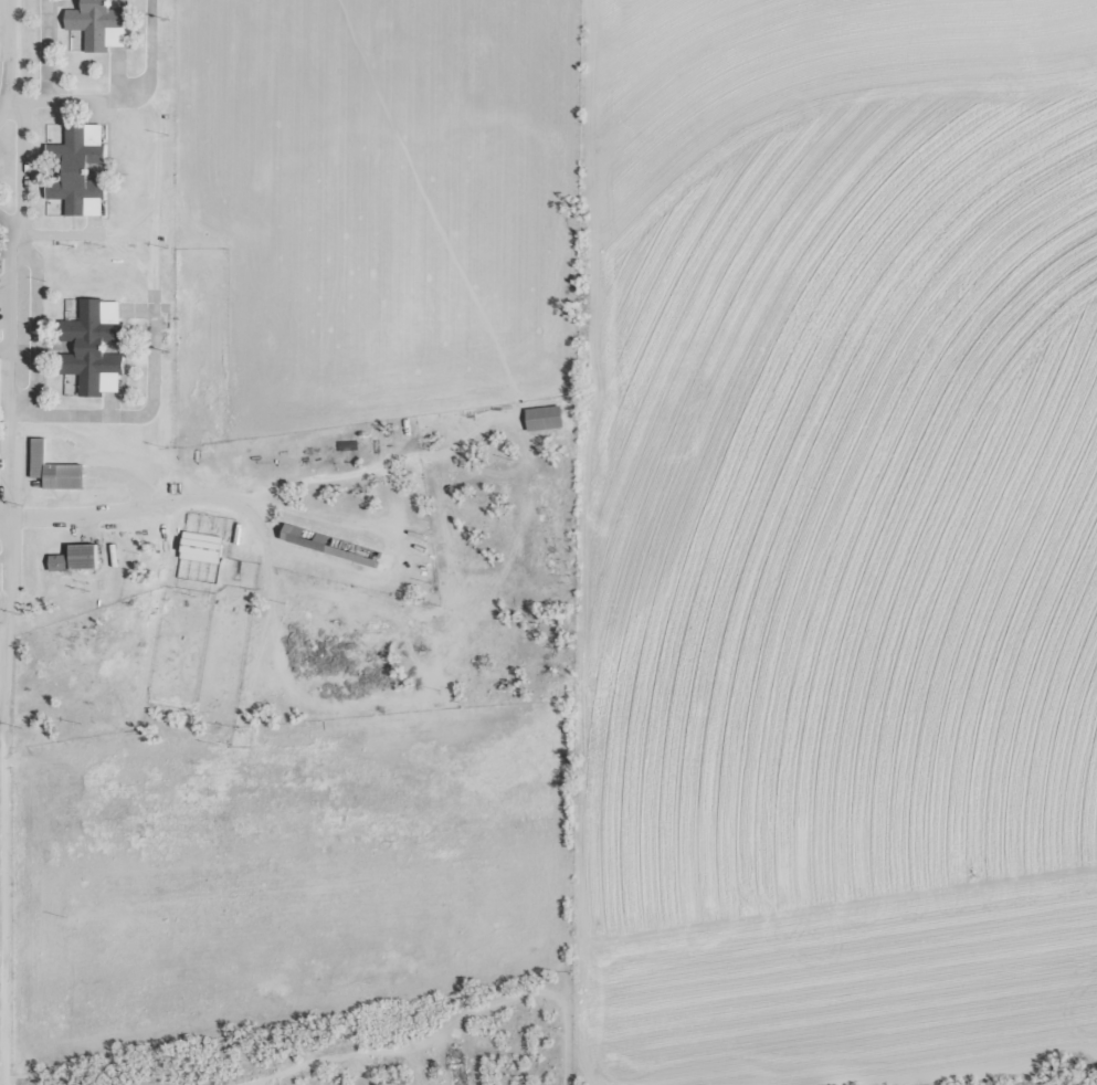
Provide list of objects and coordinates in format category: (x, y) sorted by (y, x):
building: (97, 24)
road: (13, 77)
building: (77, 170)
building: (92, 347)
building: (542, 418)
building: (53, 470)
building: (307, 539)
building: (74, 558)
road: (11, 654)
road: (442, 1025)

